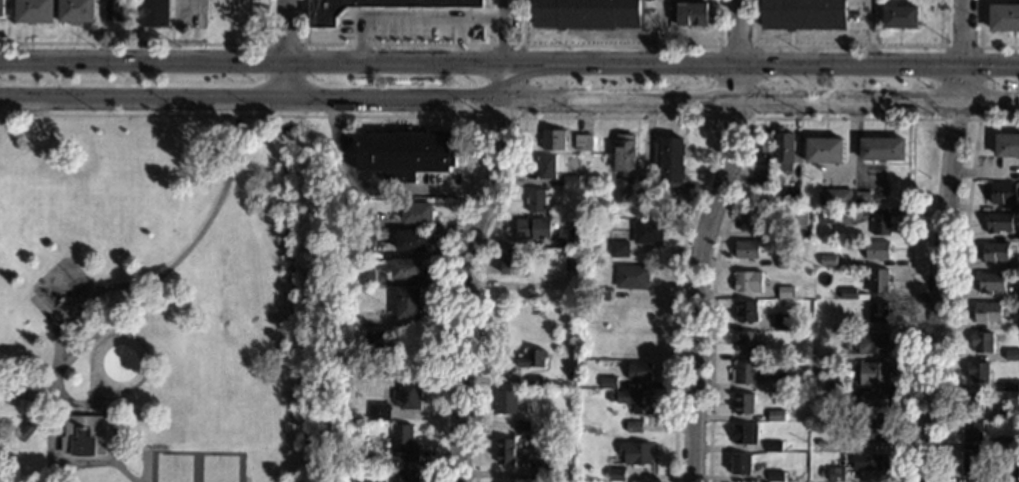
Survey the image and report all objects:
building: (215, 2)
building: (243, 4)
building: (1, 8)
road: (177, 10)
building: (34, 11)
building: (76, 11)
building: (114, 11)
building: (154, 13)
building: (585, 13)
building: (692, 14)
building: (803, 15)
road: (135, 17)
building: (323, 17)
building: (900, 17)
building: (1004, 17)
road: (171, 18)
building: (396, 21)
road: (870, 33)
road: (154, 43)
road: (285, 43)
road: (979, 43)
road: (396, 45)
road: (620, 45)
road: (849, 46)
road: (978, 47)
road: (287, 49)
road: (509, 64)
road: (509, 101)
road: (489, 115)
road: (431, 116)
road: (748, 116)
road: (616, 117)
building: (552, 141)
building: (584, 143)
building: (1007, 147)
building: (763, 149)
building: (882, 150)
building: (784, 151)
building: (825, 152)
building: (406, 155)
building: (625, 155)
building: (671, 161)
building: (547, 168)
building: (764, 180)
building: (571, 182)
road: (376, 189)
building: (622, 192)
building: (602, 193)
building: (1001, 193)
building: (776, 201)
building: (792, 201)
building: (836, 201)
building: (665, 202)
building: (862, 202)
building: (538, 203)
road: (730, 203)
building: (348, 208)
building: (419, 215)
building: (827, 219)
building: (797, 220)
building: (815, 220)
building: (749, 222)
building: (999, 225)
building: (881, 227)
building: (534, 231)
building: (647, 234)
building: (1018, 235)
road: (702, 238)
road: (475, 239)
building: (566, 240)
road: (942, 240)
building: (411, 243)
building: (584, 244)
building: (361, 246)
building: (618, 249)
building: (747, 252)
building: (877, 252)
building: (996, 254)
building: (828, 262)
building: (511, 264)
building: (570, 264)
building: (786, 264)
building: (1018, 266)
building: (407, 271)
building: (365, 278)
building: (632, 278)
road: (956, 279)
building: (879, 282)
building: (748, 283)
building: (991, 285)
building: (786, 294)
building: (848, 295)
building: (1015, 295)
park: (160, 296)
building: (600, 297)
road: (908, 300)
road: (82, 303)
building: (408, 306)
road: (43, 313)
building: (747, 314)
building: (878, 314)
building: (987, 315)
road: (111, 319)
building: (781, 322)
building: (848, 326)
building: (1015, 327)
building: (748, 344)
building: (982, 344)
building: (373, 345)
building: (872, 346)
building: (846, 347)
building: (1012, 357)
building: (800, 358)
building: (532, 361)
building: (581, 368)
building: (355, 372)
building: (640, 374)
building: (978, 374)
building: (748, 375)
building: (874, 376)
building: (572, 378)
building: (795, 382)
building: (535, 384)
building: (608, 384)
building: (846, 387)
building: (1010, 389)
road: (27, 395)
building: (408, 397)
building: (634, 402)
building: (871, 402)
building: (505, 403)
road: (105, 405)
building: (973, 405)
building: (743, 406)
building: (379, 414)
building: (833, 415)
building: (1005, 416)
building: (775, 418)
building: (523, 428)
building: (634, 429)
building: (541, 431)
building: (23, 432)
building: (973, 434)
building: (873, 435)
building: (745, 436)
building: (84, 438)
building: (404, 444)
building: (1005, 444)
building: (820, 445)
building: (1017, 445)
building: (774, 448)
building: (505, 453)
building: (636, 455)
road: (48, 461)
building: (870, 464)
building: (975, 464)
park: (193, 466)
building: (741, 466)
building: (409, 476)
building: (616, 476)
building: (837, 476)
building: (1015, 476)
building: (556, 477)
building: (774, 477)
building: (376, 481)

